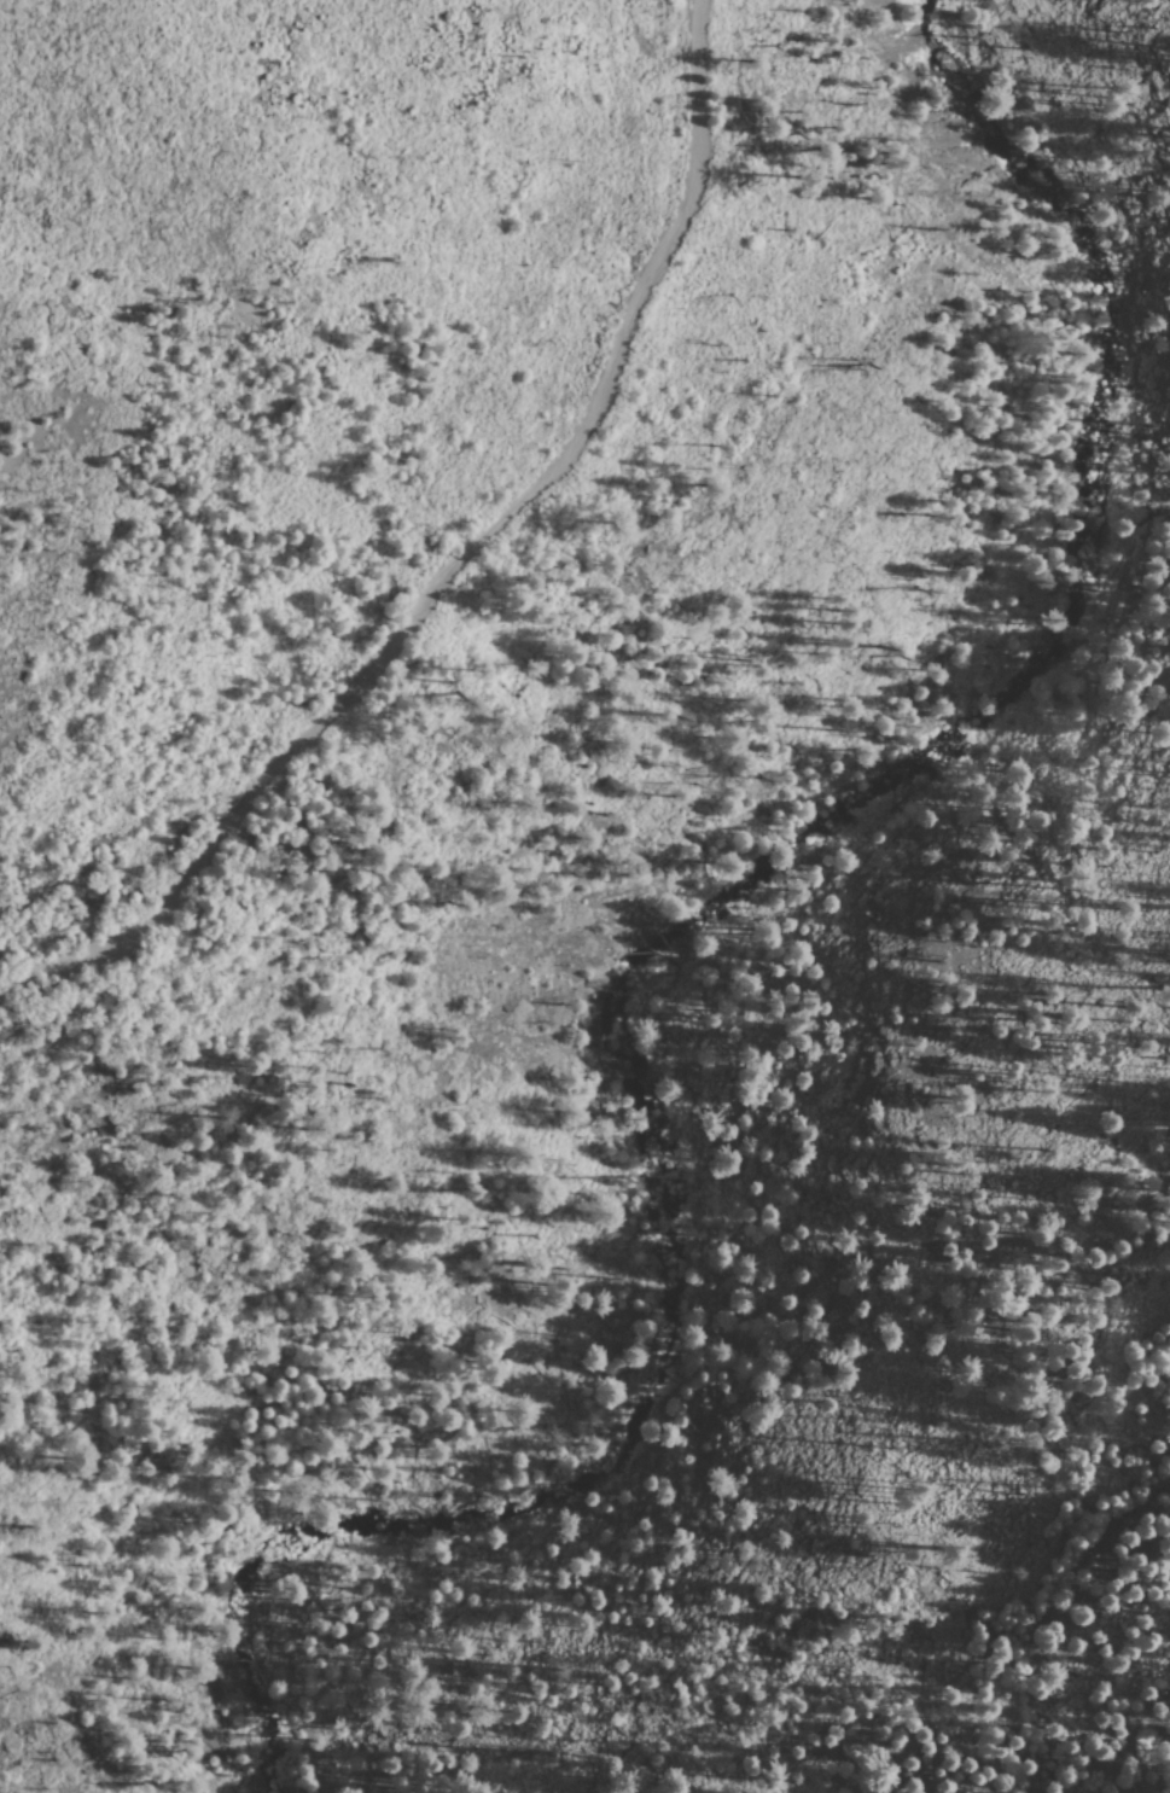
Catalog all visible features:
road: (458, 564)

